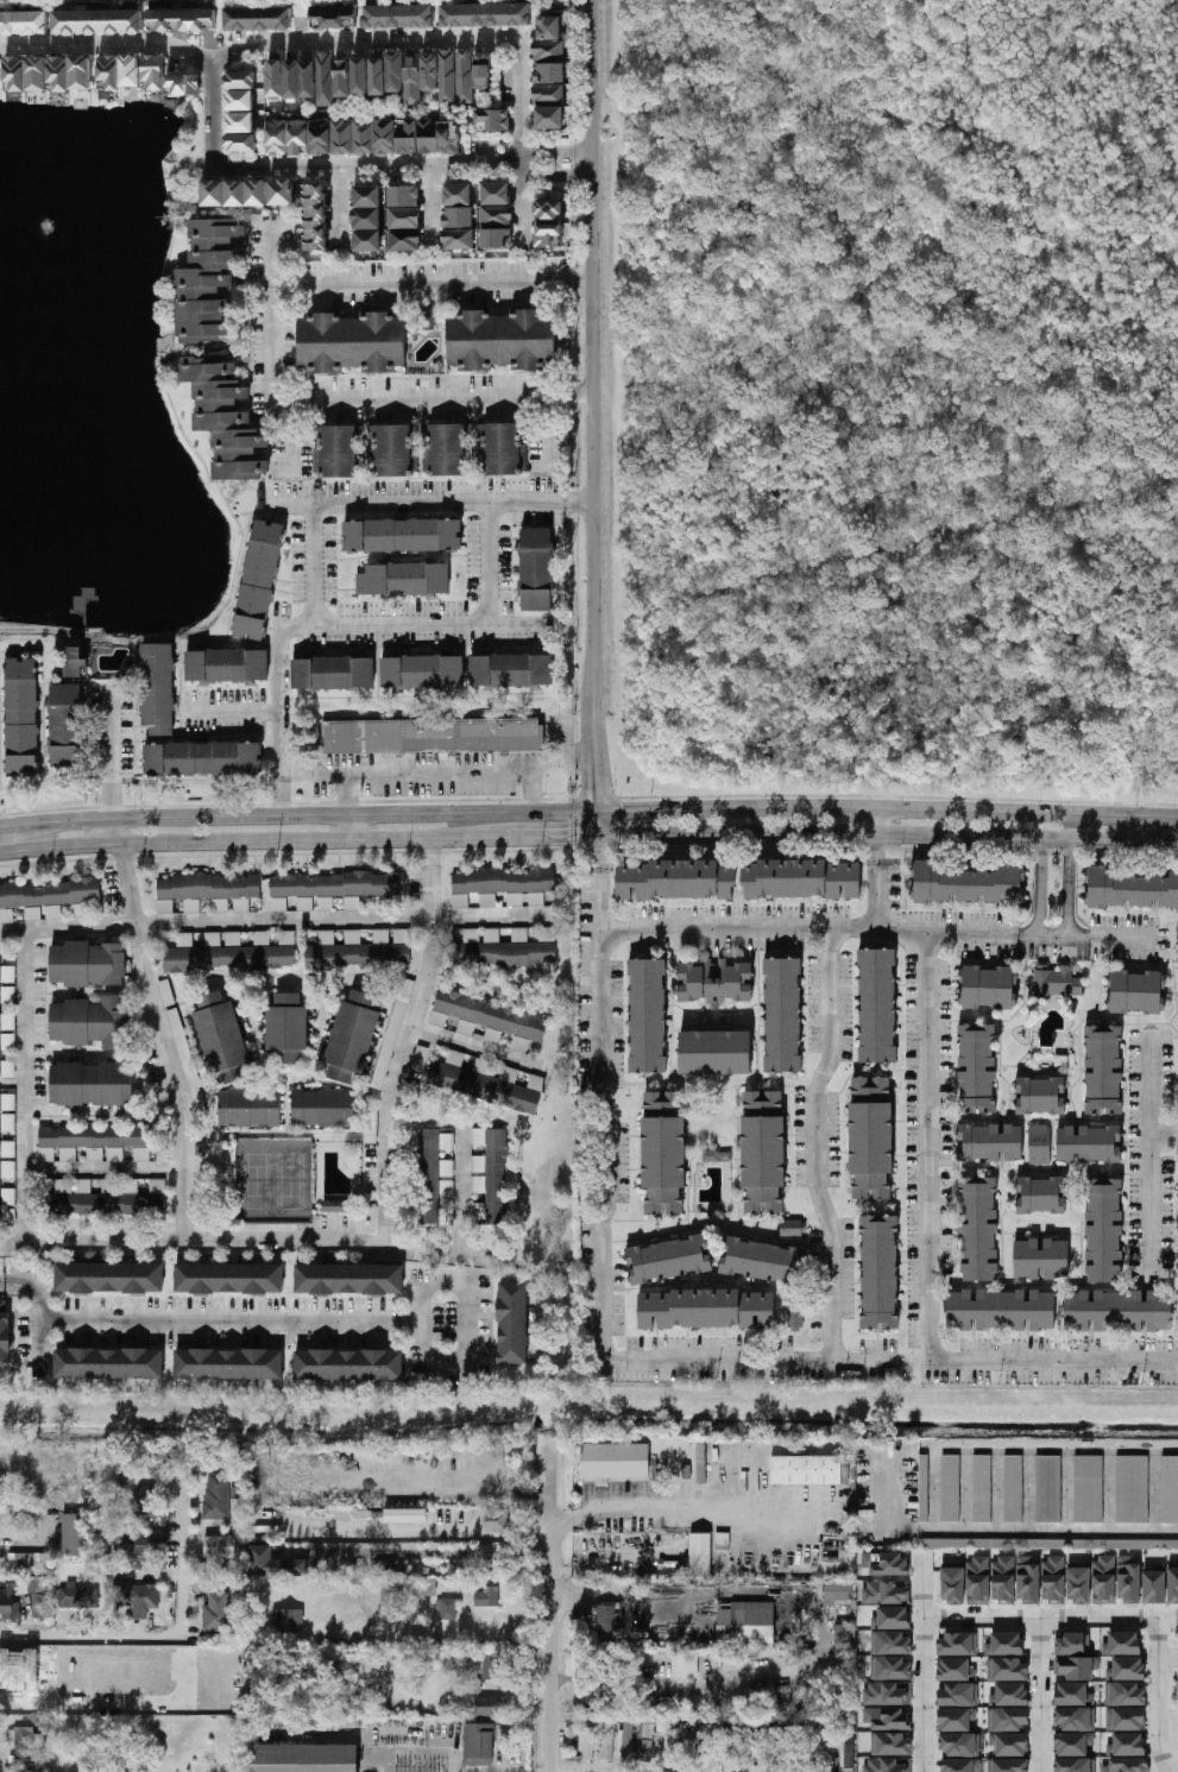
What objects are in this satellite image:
building: (489, 15)
building: (336, 18)
building: (401, 18)
building: (185, 19)
building: (260, 20)
building: (100, 21)
building: (24, 23)
building: (552, 27)
road: (254, 43)
building: (552, 52)
building: (61, 72)
building: (132, 72)
building: (157, 72)
building: (486, 72)
building: (17, 74)
building: (38, 74)
building: (82, 74)
building: (398, 74)
building: (431, 74)
building: (552, 74)
building: (111, 75)
building: (364, 77)
building: (277, 78)
building: (382, 78)
building: (467, 78)
building: (346, 80)
building: (416, 80)
building: (449, 80)
building: (242, 81)
building: (295, 81)
building: (310, 81)
building: (328, 81)
building: (187, 86)
building: (549, 95)
building: (242, 101)
road: (212, 116)
building: (496, 119)
building: (553, 120)
building: (244, 124)
building: (344, 137)
building: (431, 137)
building: (278, 138)
building: (323, 138)
building: (366, 138)
building: (302, 139)
building: (389, 139)
building: (410, 139)
building: (453, 139)
road: (521, 143)
building: (245, 145)
road: (553, 151)
road: (367, 169)
road: (554, 177)
building: (216, 189)
building: (285, 189)
building: (239, 190)
building: (259, 190)
building: (461, 190)
building: (499, 190)
building: (371, 193)
building: (407, 194)
road: (429, 207)
road: (339, 208)
building: (553, 208)
building: (461, 214)
building: (498, 214)
building: (320, 215)
building: (371, 215)
building: (407, 215)
building: (554, 234)
building: (499, 237)
building: (372, 238)
building: (407, 238)
building: (460, 238)
road: (272, 256)
building: (208, 277)
road: (431, 283)
building: (422, 319)
building: (503, 338)
building: (353, 340)
road: (272, 345)
road: (431, 402)
road: (592, 404)
building: (226, 416)
road: (289, 437)
building: (504, 447)
building: (448, 448)
building: (341, 449)
building: (395, 449)
road: (434, 502)
building: (404, 534)
road: (311, 562)
road: (486, 562)
building: (538, 567)
building: (262, 578)
building: (404, 578)
road: (313, 623)
building: (75, 662)
building: (229, 664)
building: (515, 670)
building: (424, 671)
building: (334, 674)
building: (159, 687)
road: (232, 713)
building: (24, 717)
building: (68, 725)
building: (474, 734)
building: (364, 736)
road: (112, 756)
road: (574, 756)
building: (203, 758)
road: (456, 774)
traffic signals: (596, 788)
road: (535, 792)
road: (349, 794)
road: (887, 794)
road: (887, 808)
traffic signals: (622, 809)
road: (354, 813)
road: (874, 820)
road: (67, 822)
road: (596, 822)
road: (8, 826)
road: (349, 826)
road: (116, 831)
road: (887, 833)
road: (553, 835)
traffic signals: (567, 835)
road: (315, 839)
road: (58, 847)
traffic signals: (596, 853)
building: (801, 878)
building: (674, 879)
building: (502, 881)
road: (874, 881)
road: (597, 882)
building: (969, 883)
building: (334, 885)
building: (207, 887)
road: (1040, 889)
road: (1070, 889)
building: (1133, 889)
building: (49, 893)
road: (277, 919)
road: (874, 928)
building: (505, 953)
building: (355, 954)
building: (227, 957)
building: (86, 964)
building: (714, 980)
building: (1056, 980)
building: (988, 988)
building: (1136, 991)
building: (876, 1005)
building: (782, 1014)
building: (6, 1015)
building: (647, 1015)
building: (490, 1019)
building: (88, 1022)
building: (285, 1029)
building: (392, 1033)
building: (221, 1038)
building: (351, 1039)
road: (162, 1041)
road: (407, 1042)
road: (475, 1049)
building: (716, 1052)
building: (420, 1058)
building: (185, 1060)
building: (977, 1067)
building: (1103, 1070)
building: (89, 1084)
road: (23, 1087)
building: (483, 1087)
building: (1040, 1095)
building: (247, 1108)
building: (321, 1108)
road: (1163, 1131)
building: (92, 1136)
building: (870, 1136)
building: (989, 1141)
building: (1039, 1143)
building: (1088, 1143)
road: (814, 1146)
road: (926, 1148)
building: (763, 1150)
building: (663, 1153)
road: (1148, 1154)
building: (710, 1155)
road: (101, 1169)
building: (496, 1175)
building: (427, 1177)
building: (62, 1186)
road: (461, 1188)
building: (1040, 1194)
building: (103, 1204)
building: (335, 1205)
building: (446, 1216)
building: (792, 1226)
building: (978, 1228)
building: (1103, 1229)
road: (244, 1240)
building: (668, 1259)
building: (1040, 1259)
building: (761, 1260)
building: (878, 1272)
building: (109, 1278)
building: (229, 1278)
building: (348, 1279)
road: (599, 1291)
building: (706, 1308)
building: (1000, 1310)
building: (1117, 1310)
building: (794, 1316)
road: (200, 1317)
building: (512, 1322)
road: (40, 1329)
road: (472, 1331)
building: (5, 1332)
building: (108, 1363)
building: (228, 1363)
building: (348, 1364)
road: (1052, 1364)
building: (615, 1461)
building: (810, 1469)
building: (924, 1488)
building: (950, 1488)
building: (982, 1488)
building: (1013, 1488)
building: (1048, 1488)
building: (1088, 1488)
building: (1132, 1489)
building: (1168, 1489)
building: (216, 1495)
building: (146, 1500)
road: (680, 1508)
building: (405, 1515)
building: (496, 1520)
road: (1000, 1530)
building: (73, 1534)
building: (1053, 1543)
building: (140, 1545)
building: (221, 1545)
road: (466, 1553)
building: (699, 1553)
building: (27, 1562)
building: (273, 1563)
building: (1128, 1578)
building: (1002, 1579)
building: (1027, 1579)
building: (1053, 1579)
building: (1103, 1579)
building: (977, 1581)
building: (1078, 1583)
building: (952, 1584)
building: (1154, 1584)
building: (1172, 1584)
building: (415, 1588)
building: (133, 1591)
road: (599, 1591)
building: (884, 1593)
building: (487, 1595)
building: (838, 1595)
building: (75, 1596)
building: (8, 1604)
building: (448, 1608)
road: (555, 1609)
building: (216, 1612)
building: (892, 1617)
road: (1048, 1617)
building: (286, 1620)
building: (606, 1622)
building: (747, 1625)
building: (844, 1635)
road: (162, 1638)
building: (890, 1642)
building: (1122, 1642)
building: (956, 1644)
building: (1004, 1644)
building: (1073, 1657)
building: (685, 1665)
road: (920, 1665)
building: (491, 1667)
building: (890, 1667)
building: (955, 1669)
building: (1007, 1669)
building: (1126, 1669)
building: (887, 1692)
building: (1009, 1694)
building: (1072, 1694)
building: (1126, 1694)
building: (956, 1695)
road: (1040, 1695)
road: (1159, 1697)
building: (487, 1705)
building: (887, 1717)
building: (1073, 1717)
building: (1008, 1719)
building: (1125, 1719)
building: (953, 1720)
building: (668, 1734)
building: (625, 1736)
building: (645, 1739)
building: (607, 1740)
building: (706, 1742)
building: (478, 1743)
building: (587, 1743)
building: (723, 1743)
building: (890, 1743)
building: (1009, 1743)
building: (1072, 1743)
building: (1127, 1743)
building: (744, 1745)
building: (826, 1745)
building: (959, 1745)
building: (24, 1746)
building: (303, 1758)
building: (887, 1764)
building: (960, 1765)
building: (1007, 1765)
building: (1073, 1765)
building: (1127, 1765)

